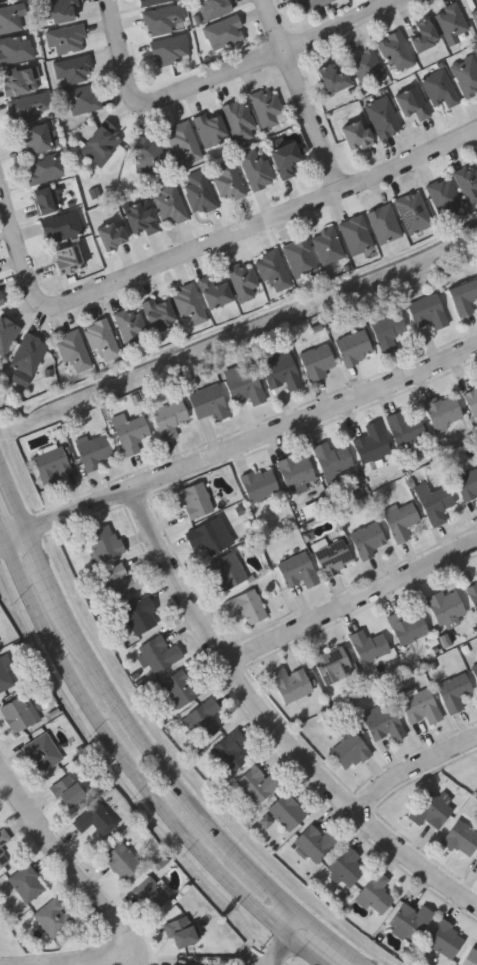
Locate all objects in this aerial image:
building: (152, 2)
building: (476, 2)
building: (312, 4)
building: (212, 9)
building: (60, 10)
building: (474, 17)
building: (10, 20)
building: (163, 20)
building: (450, 24)
building: (224, 34)
building: (423, 36)
building: (65, 40)
road: (122, 48)
building: (15, 50)
building: (169, 51)
building: (395, 52)
road: (266, 59)
building: (365, 66)
building: (72, 70)
building: (465, 75)
building: (332, 78)
building: (19, 80)
building: (439, 89)
road: (304, 96)
building: (81, 100)
building: (411, 104)
building: (266, 108)
building: (27, 109)
building: (382, 117)
building: (238, 120)
building: (209, 129)
building: (355, 135)
building: (37, 138)
building: (102, 138)
building: (183, 143)
building: (149, 154)
building: (284, 159)
building: (255, 168)
building: (43, 169)
building: (228, 182)
building: (467, 182)
building: (199, 193)
building: (443, 197)
building: (44, 200)
building: (169, 205)
building: (412, 212)
building: (140, 219)
road: (271, 221)
building: (383, 224)
building: (61, 227)
building: (110, 235)
building: (355, 235)
building: (326, 246)
road: (22, 255)
building: (298, 258)
building: (66, 259)
building: (272, 271)
building: (241, 280)
building: (213, 293)
building: (463, 294)
building: (0, 302)
building: (188, 306)
building: (428, 310)
building: (157, 314)
building: (129, 326)
building: (388, 330)
building: (6, 333)
building: (101, 341)
building: (354, 347)
building: (72, 351)
building: (26, 359)
building: (317, 361)
building: (278, 370)
building: (475, 380)
building: (241, 382)
building: (472, 400)
building: (207, 401)
building: (443, 411)
building: (168, 418)
building: (404, 427)
building: (128, 431)
building: (371, 442)
road: (252, 443)
building: (93, 449)
building: (332, 458)
building: (51, 462)
building: (296, 469)
building: (259, 483)
building: (467, 484)
road: (13, 498)
building: (192, 498)
building: (434, 501)
building: (400, 520)
road: (3, 533)
building: (207, 534)
road: (16, 536)
building: (367, 539)
building: (103, 541)
road: (3, 542)
building: (332, 557)
road: (44, 569)
building: (297, 569)
building: (226, 571)
building: (476, 572)
building: (120, 581)
building: (473, 593)
road: (353, 604)
building: (246, 605)
building: (445, 605)
building: (139, 614)
building: (406, 625)
building: (368, 644)
building: (158, 653)
building: (331, 660)
building: (474, 669)
building: (5, 671)
building: (290, 683)
building: (181, 687)
building: (454, 691)
building: (420, 706)
building: (18, 713)
building: (204, 718)
building: (383, 721)
road: (275, 722)
building: (229, 750)
building: (349, 750)
building: (42, 751)
road: (413, 766)
road: (164, 771)
road: (136, 774)
building: (257, 783)
building: (68, 790)
building: (287, 810)
building: (429, 810)
building: (96, 818)
building: (461, 838)
building: (314, 842)
road: (58, 849)
building: (3, 852)
building: (476, 858)
building: (122, 860)
building: (344, 866)
building: (27, 882)
building: (150, 893)
building: (374, 893)
building: (54, 916)
road: (289, 921)
building: (408, 921)
building: (181, 930)
building: (445, 938)
road: (329, 939)
road: (281, 950)
building: (470, 957)
road: (101, 959)
building: (179, 963)

